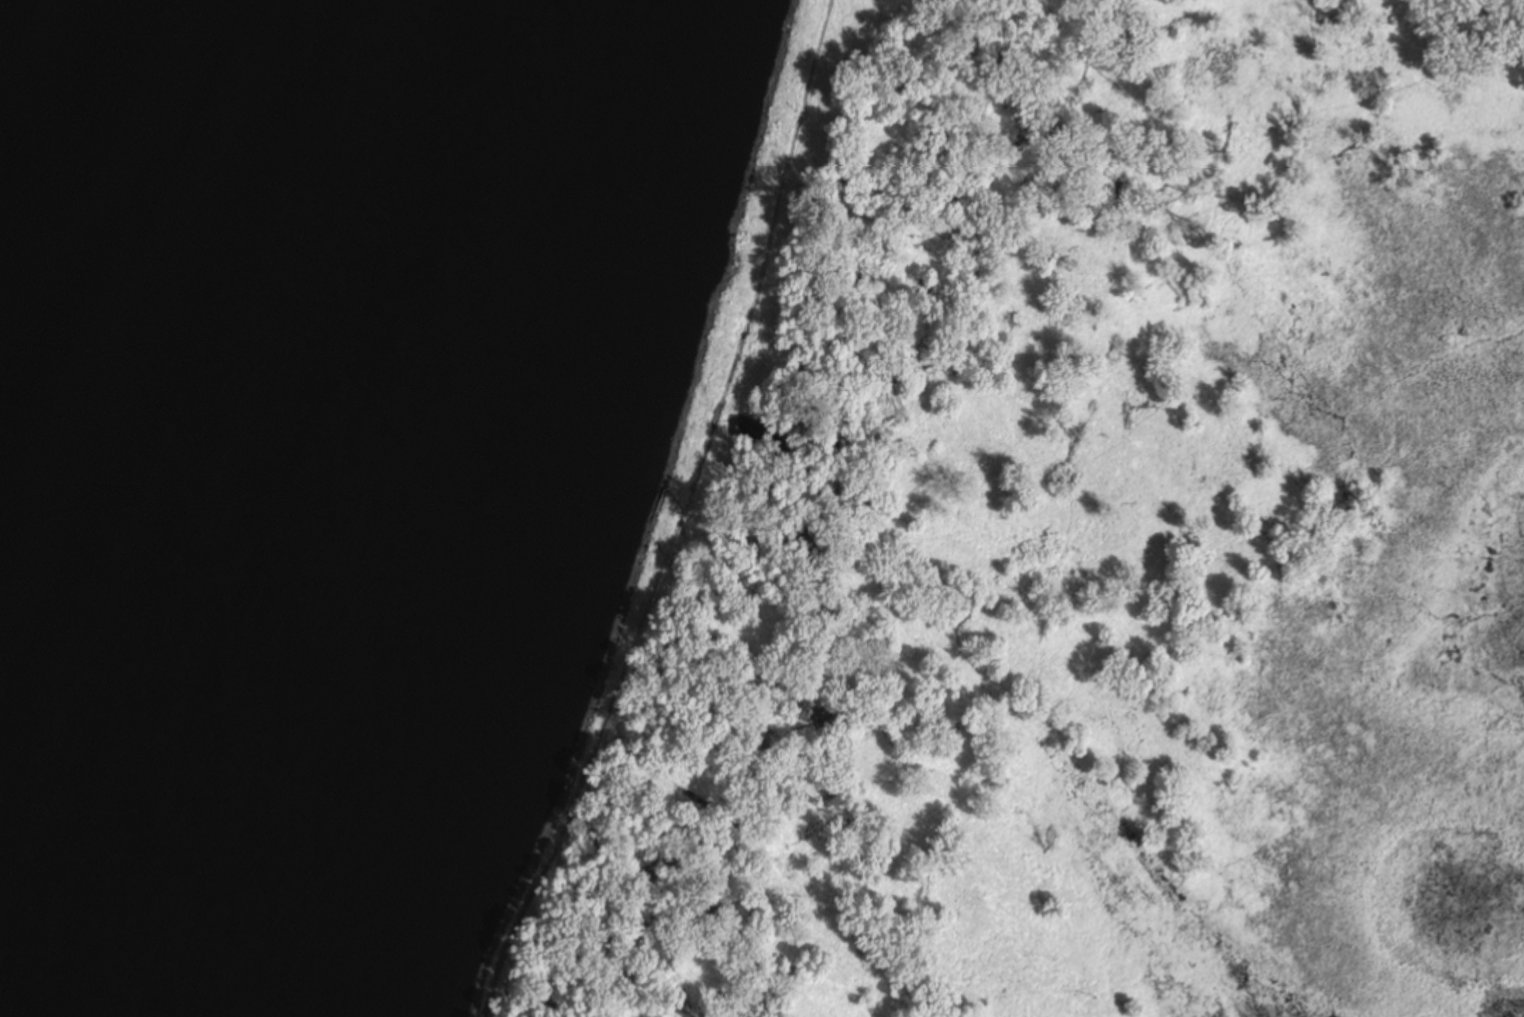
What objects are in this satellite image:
river: (167, 450)

